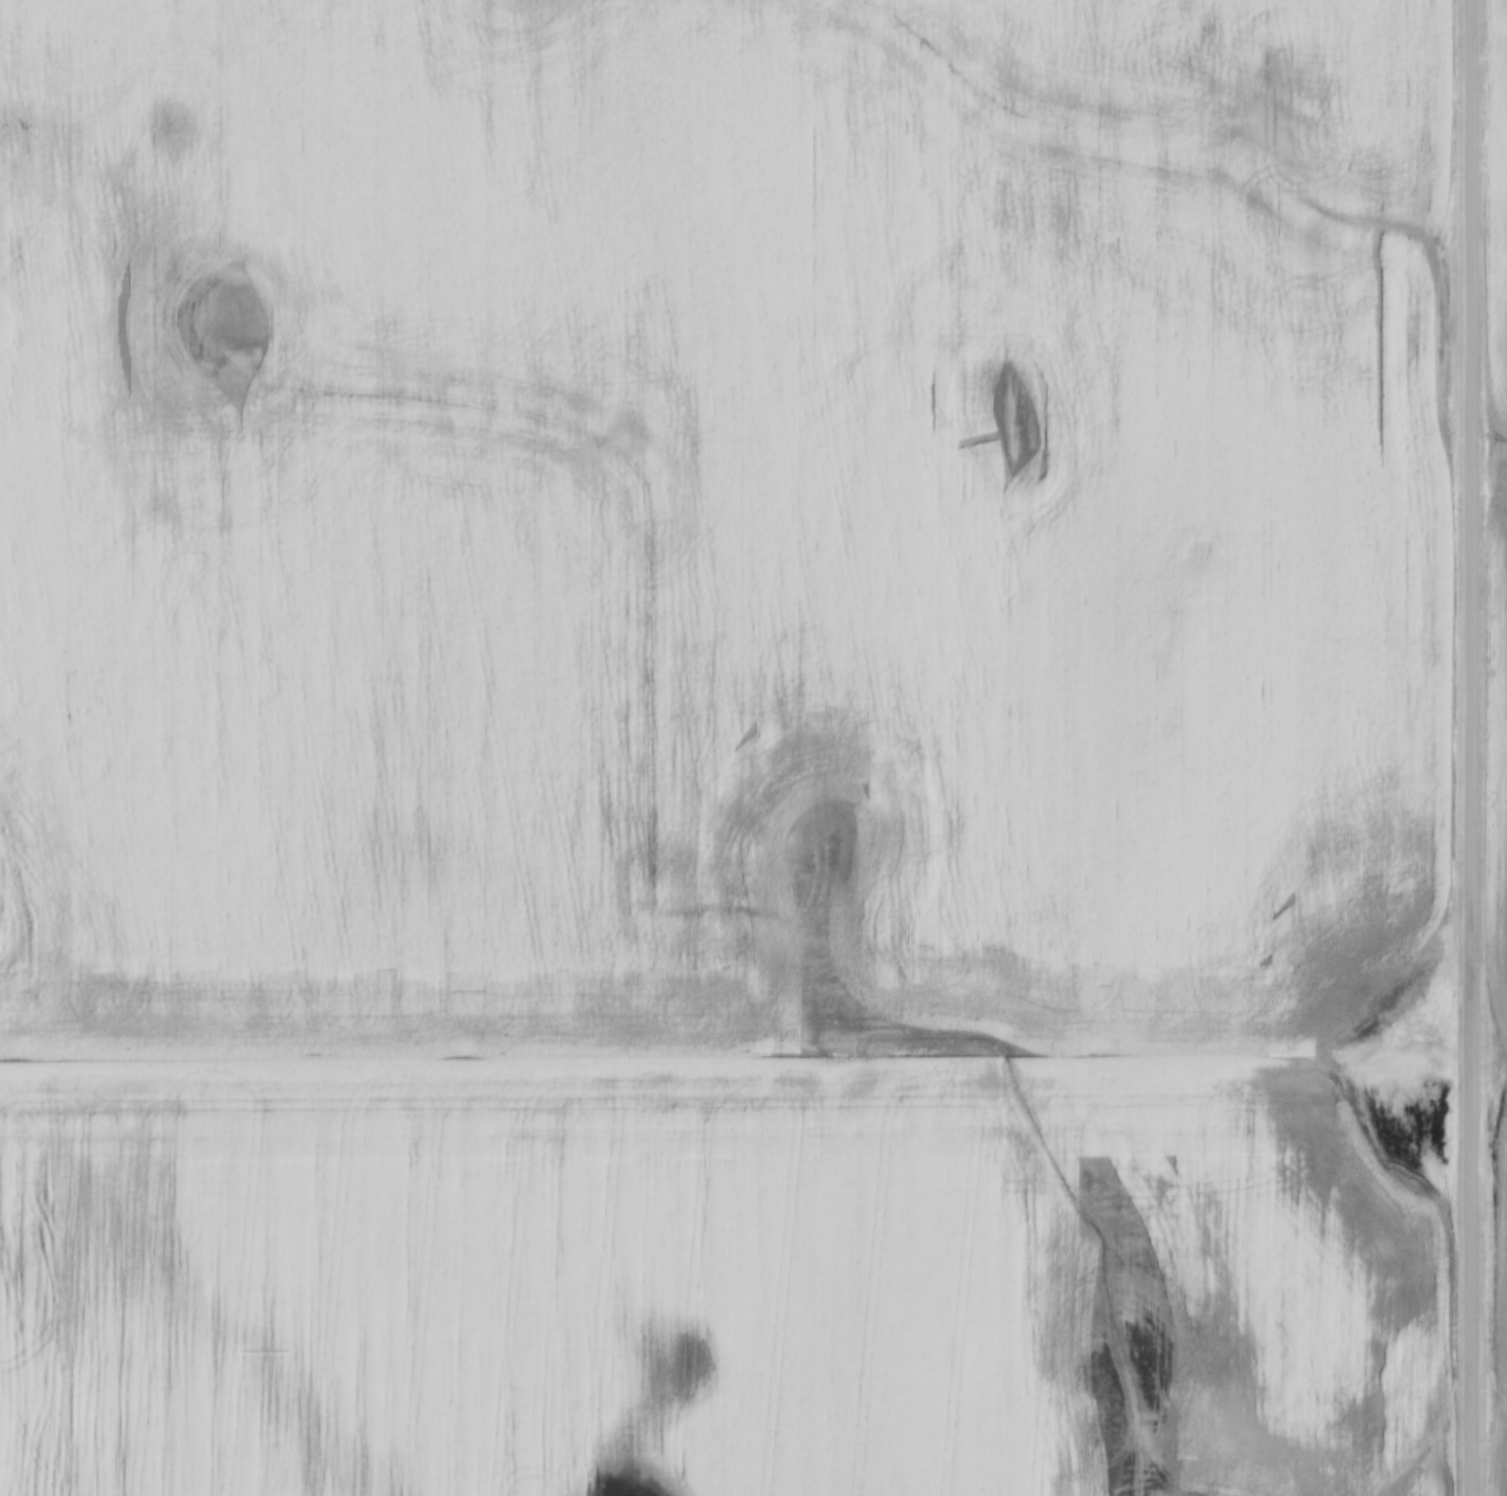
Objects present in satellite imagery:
road: (1472, 748)

